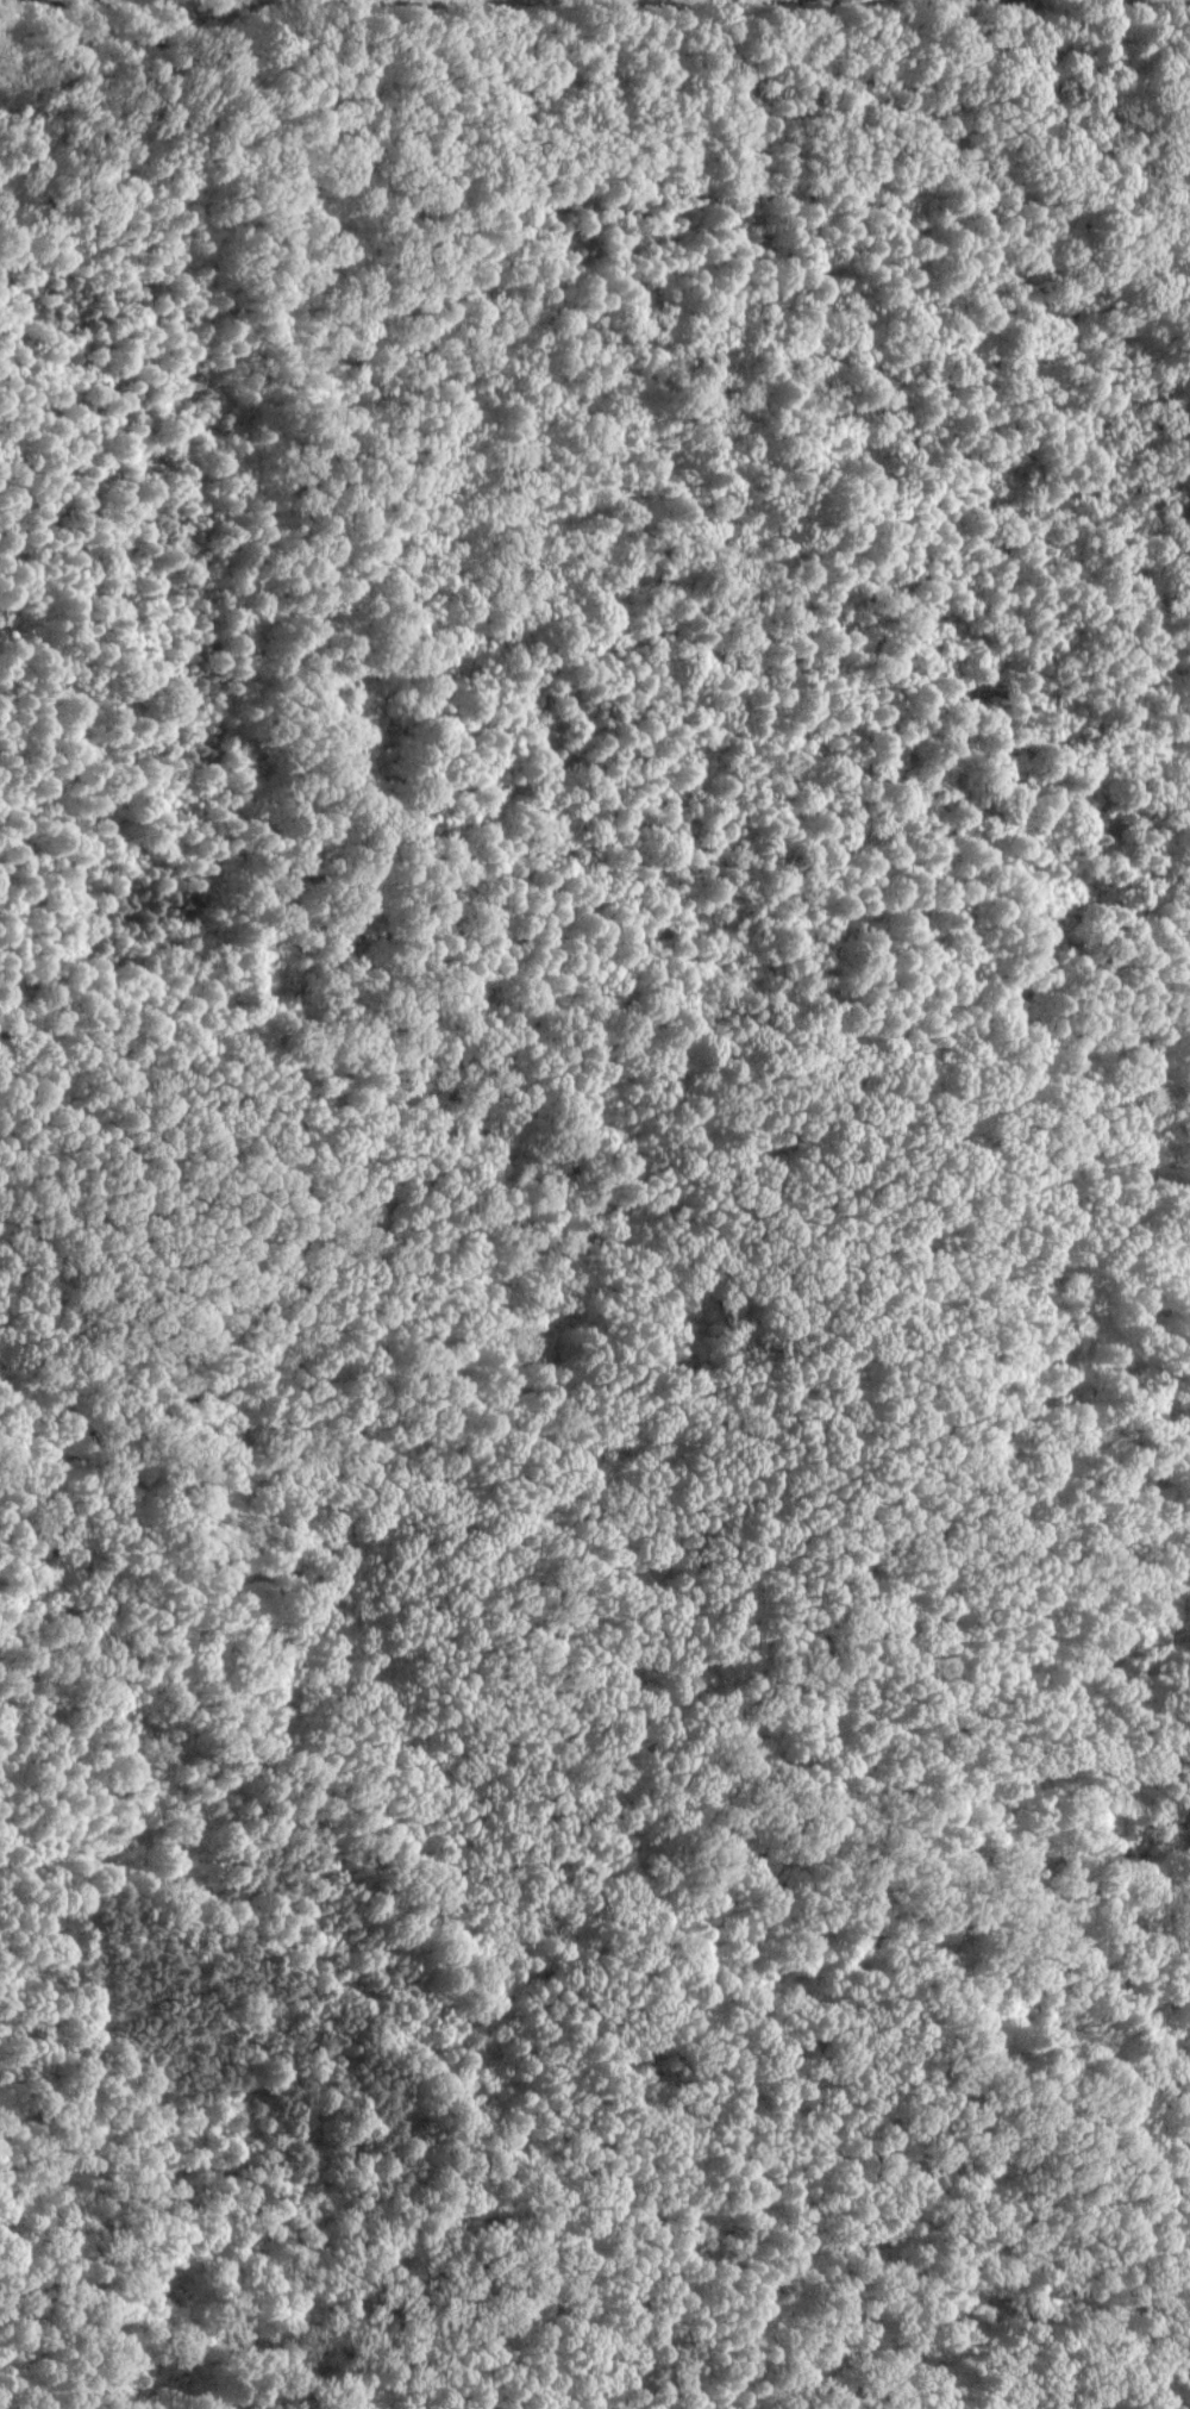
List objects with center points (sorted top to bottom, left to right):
road: (821, 1594)
water tower: (133, 1820)
road: (94, 1864)

